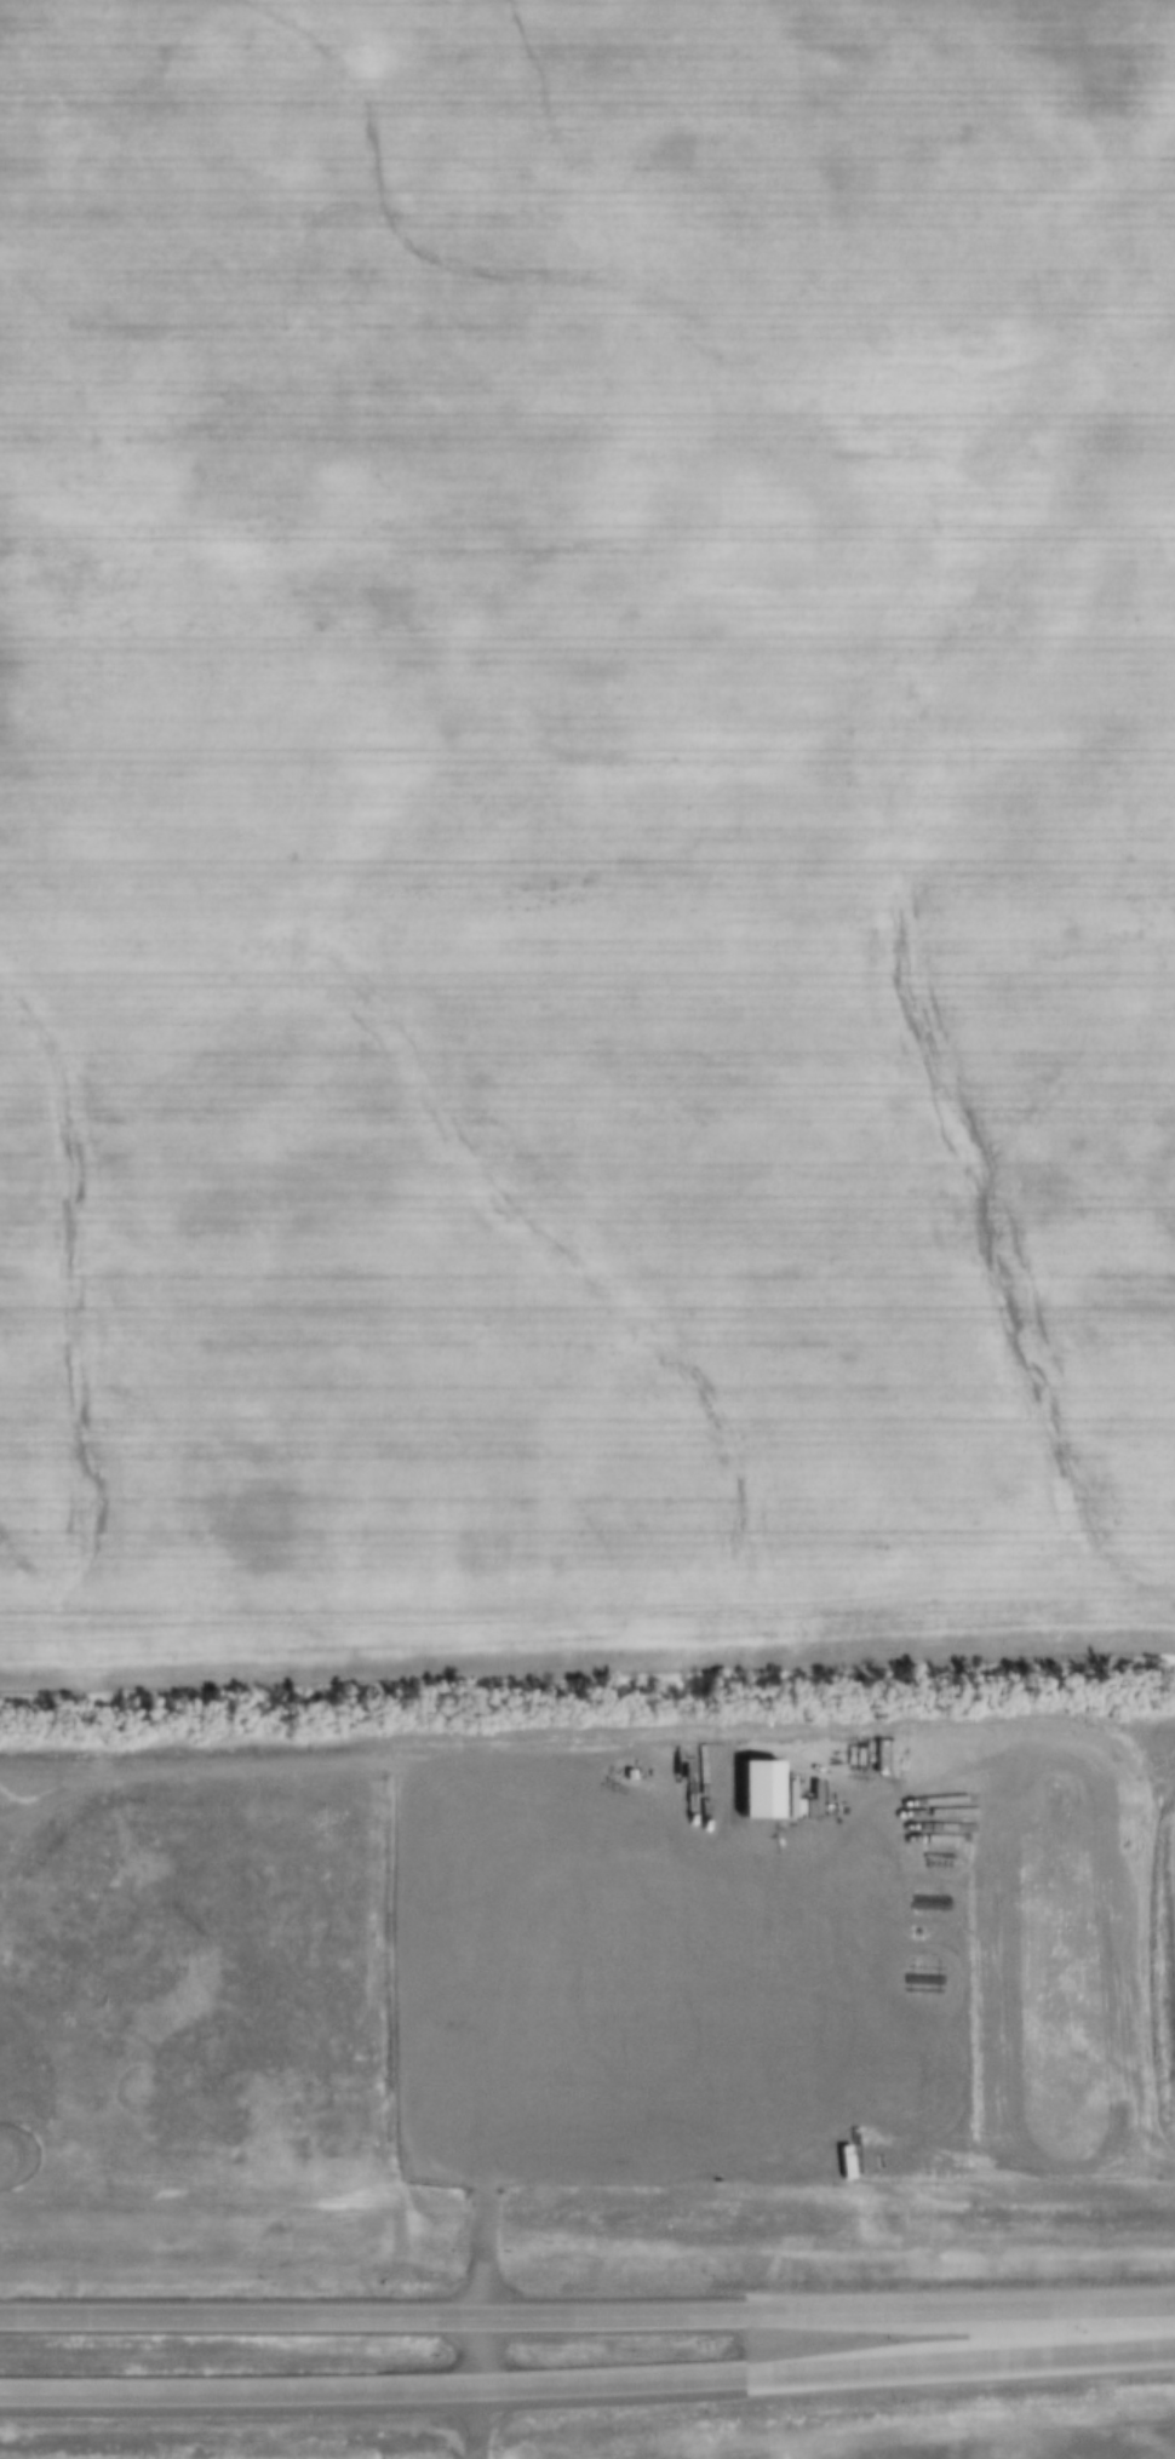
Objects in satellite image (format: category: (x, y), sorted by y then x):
building: (422, 2122)
road: (587, 2321)
road: (475, 2356)
road: (587, 2383)
road: (478, 2424)

